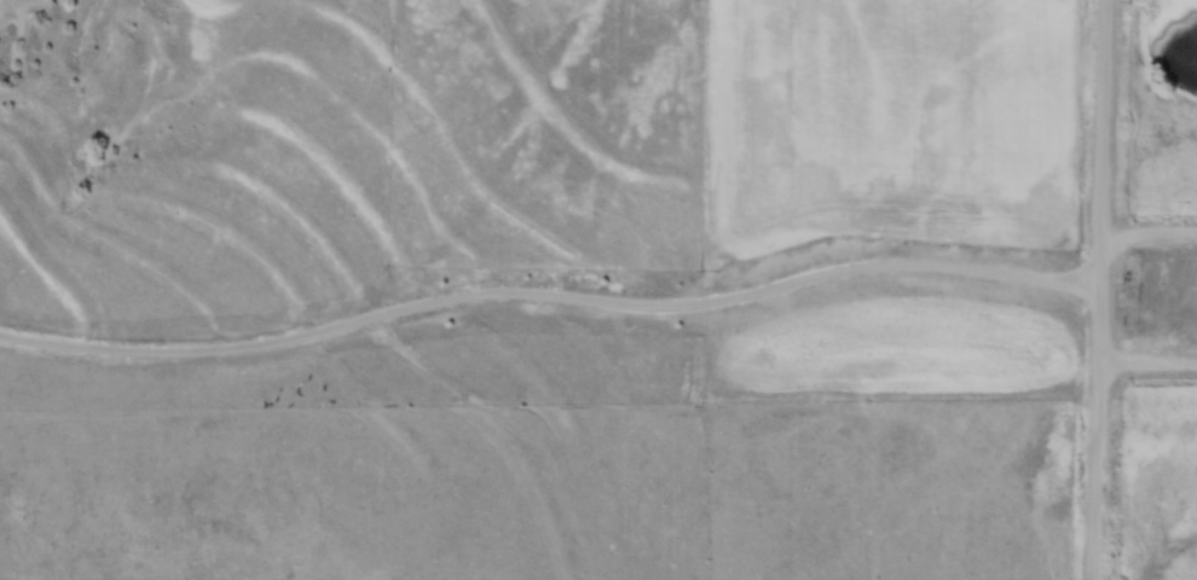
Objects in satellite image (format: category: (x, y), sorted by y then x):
road: (1150, 230)
road: (1101, 289)
road: (1149, 367)

